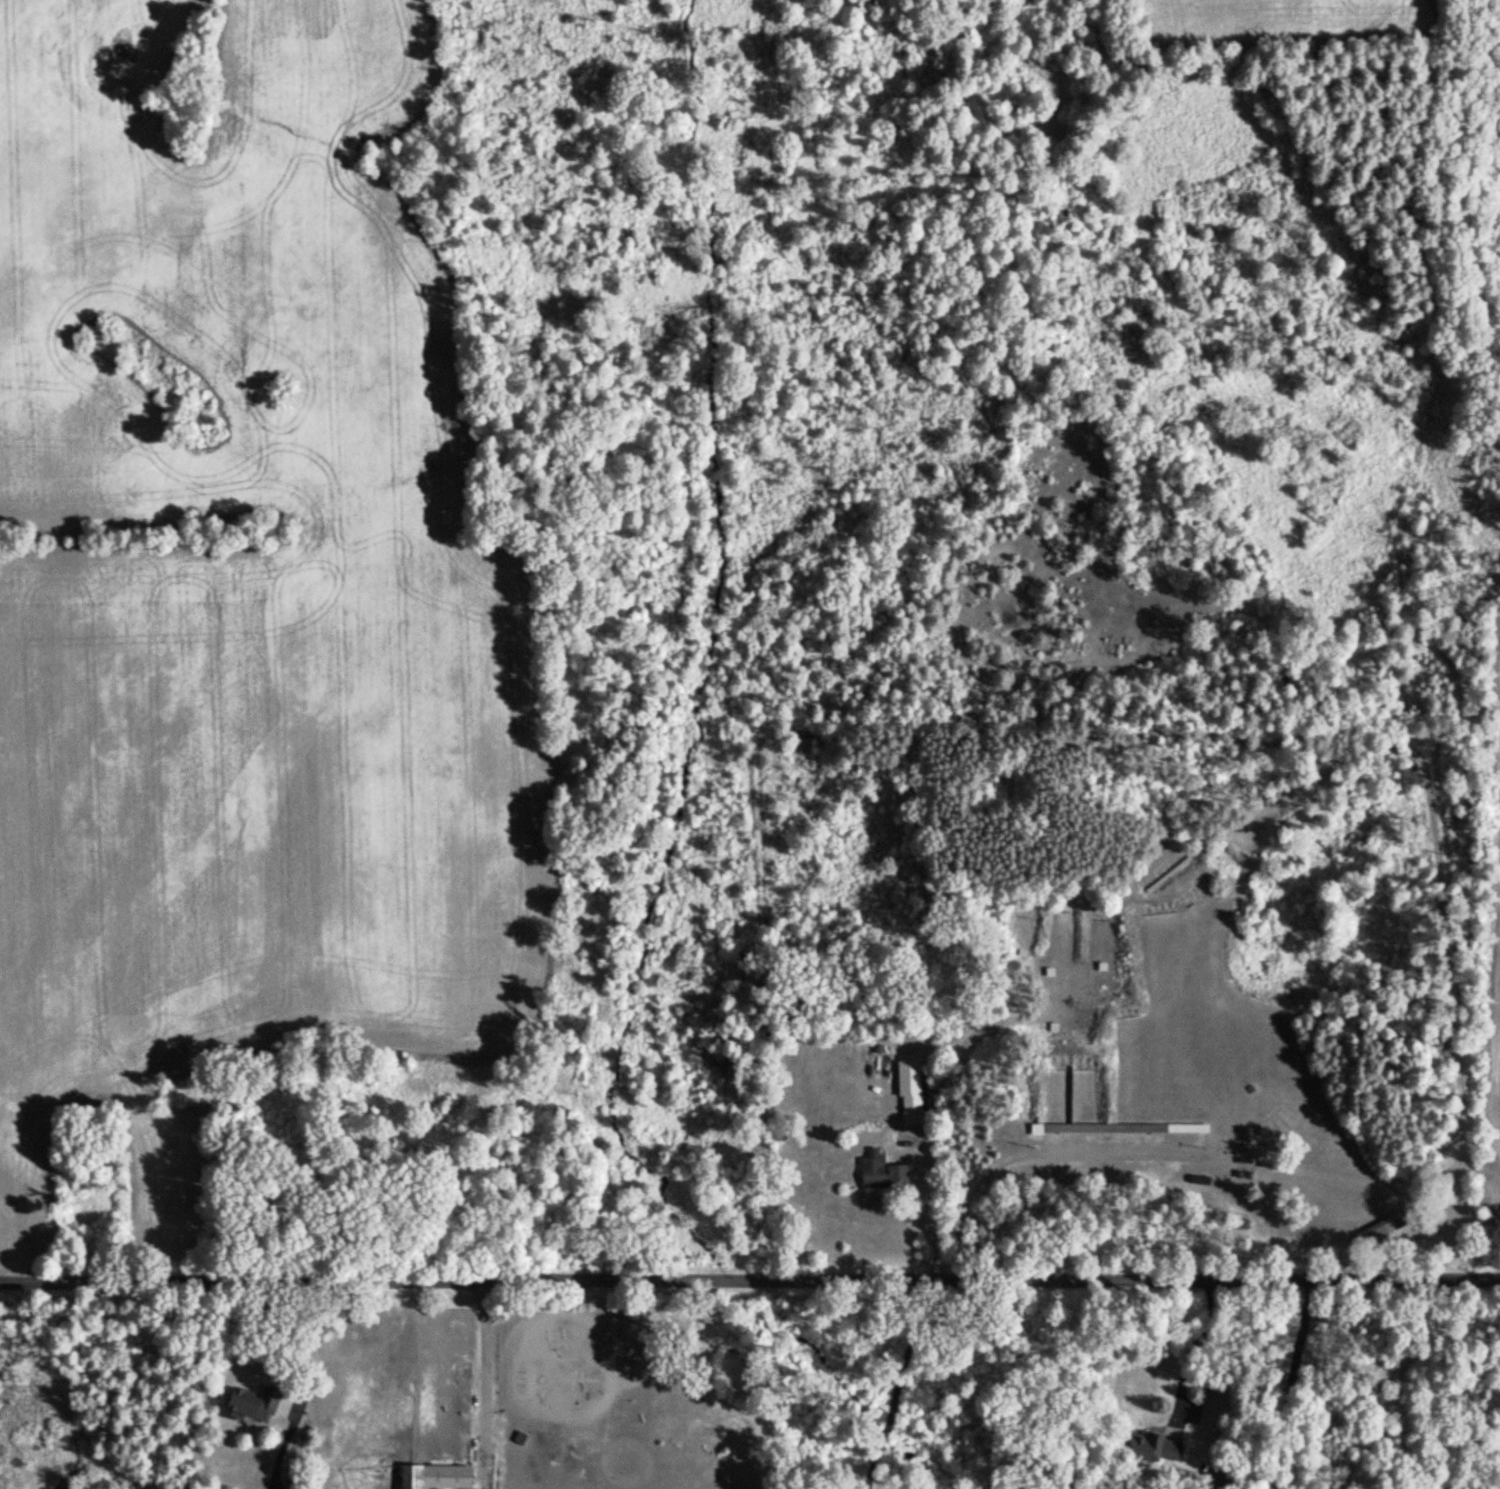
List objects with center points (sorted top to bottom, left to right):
crop: (1272, 17)
crop: (244, 609)
road: (1455, 882)
building: (909, 1088)
crop: (1496, 1094)
building: (880, 1169)
road: (931, 1203)
building: (1379, 1226)
road: (749, 1280)
road: (1191, 1338)
road: (304, 1376)
road: (894, 1379)
road: (484, 1384)
road: (1276, 1384)
building: (1152, 1445)
building: (434, 1475)
building: (1217, 1478)

